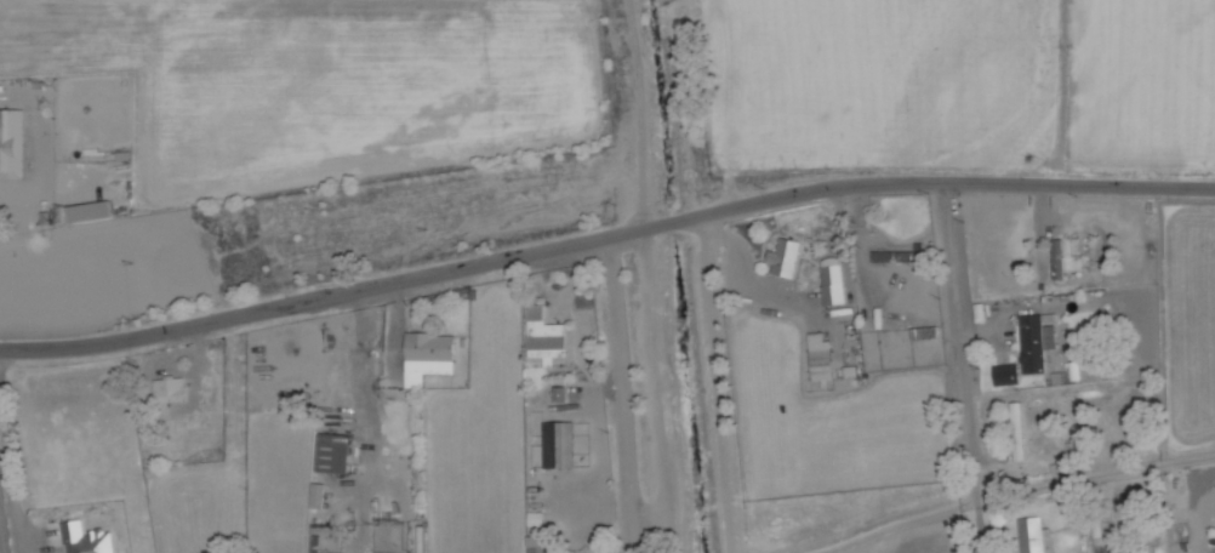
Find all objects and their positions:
building: (16, 129)
building: (90, 211)
road: (604, 238)
building: (900, 255)
building: (786, 257)
building: (1060, 258)
building: (833, 281)
building: (925, 333)
building: (548, 338)
building: (1038, 341)
building: (428, 357)
building: (822, 365)
road: (962, 366)
building: (1088, 372)
building: (1006, 375)
road: (719, 383)
building: (170, 392)
road: (623, 394)
building: (1020, 431)
building: (559, 445)
building: (335, 454)
road: (10, 466)
building: (318, 496)
road: (2, 531)
building: (1036, 536)
building: (86, 538)
building: (313, 545)
building: (540, 545)

